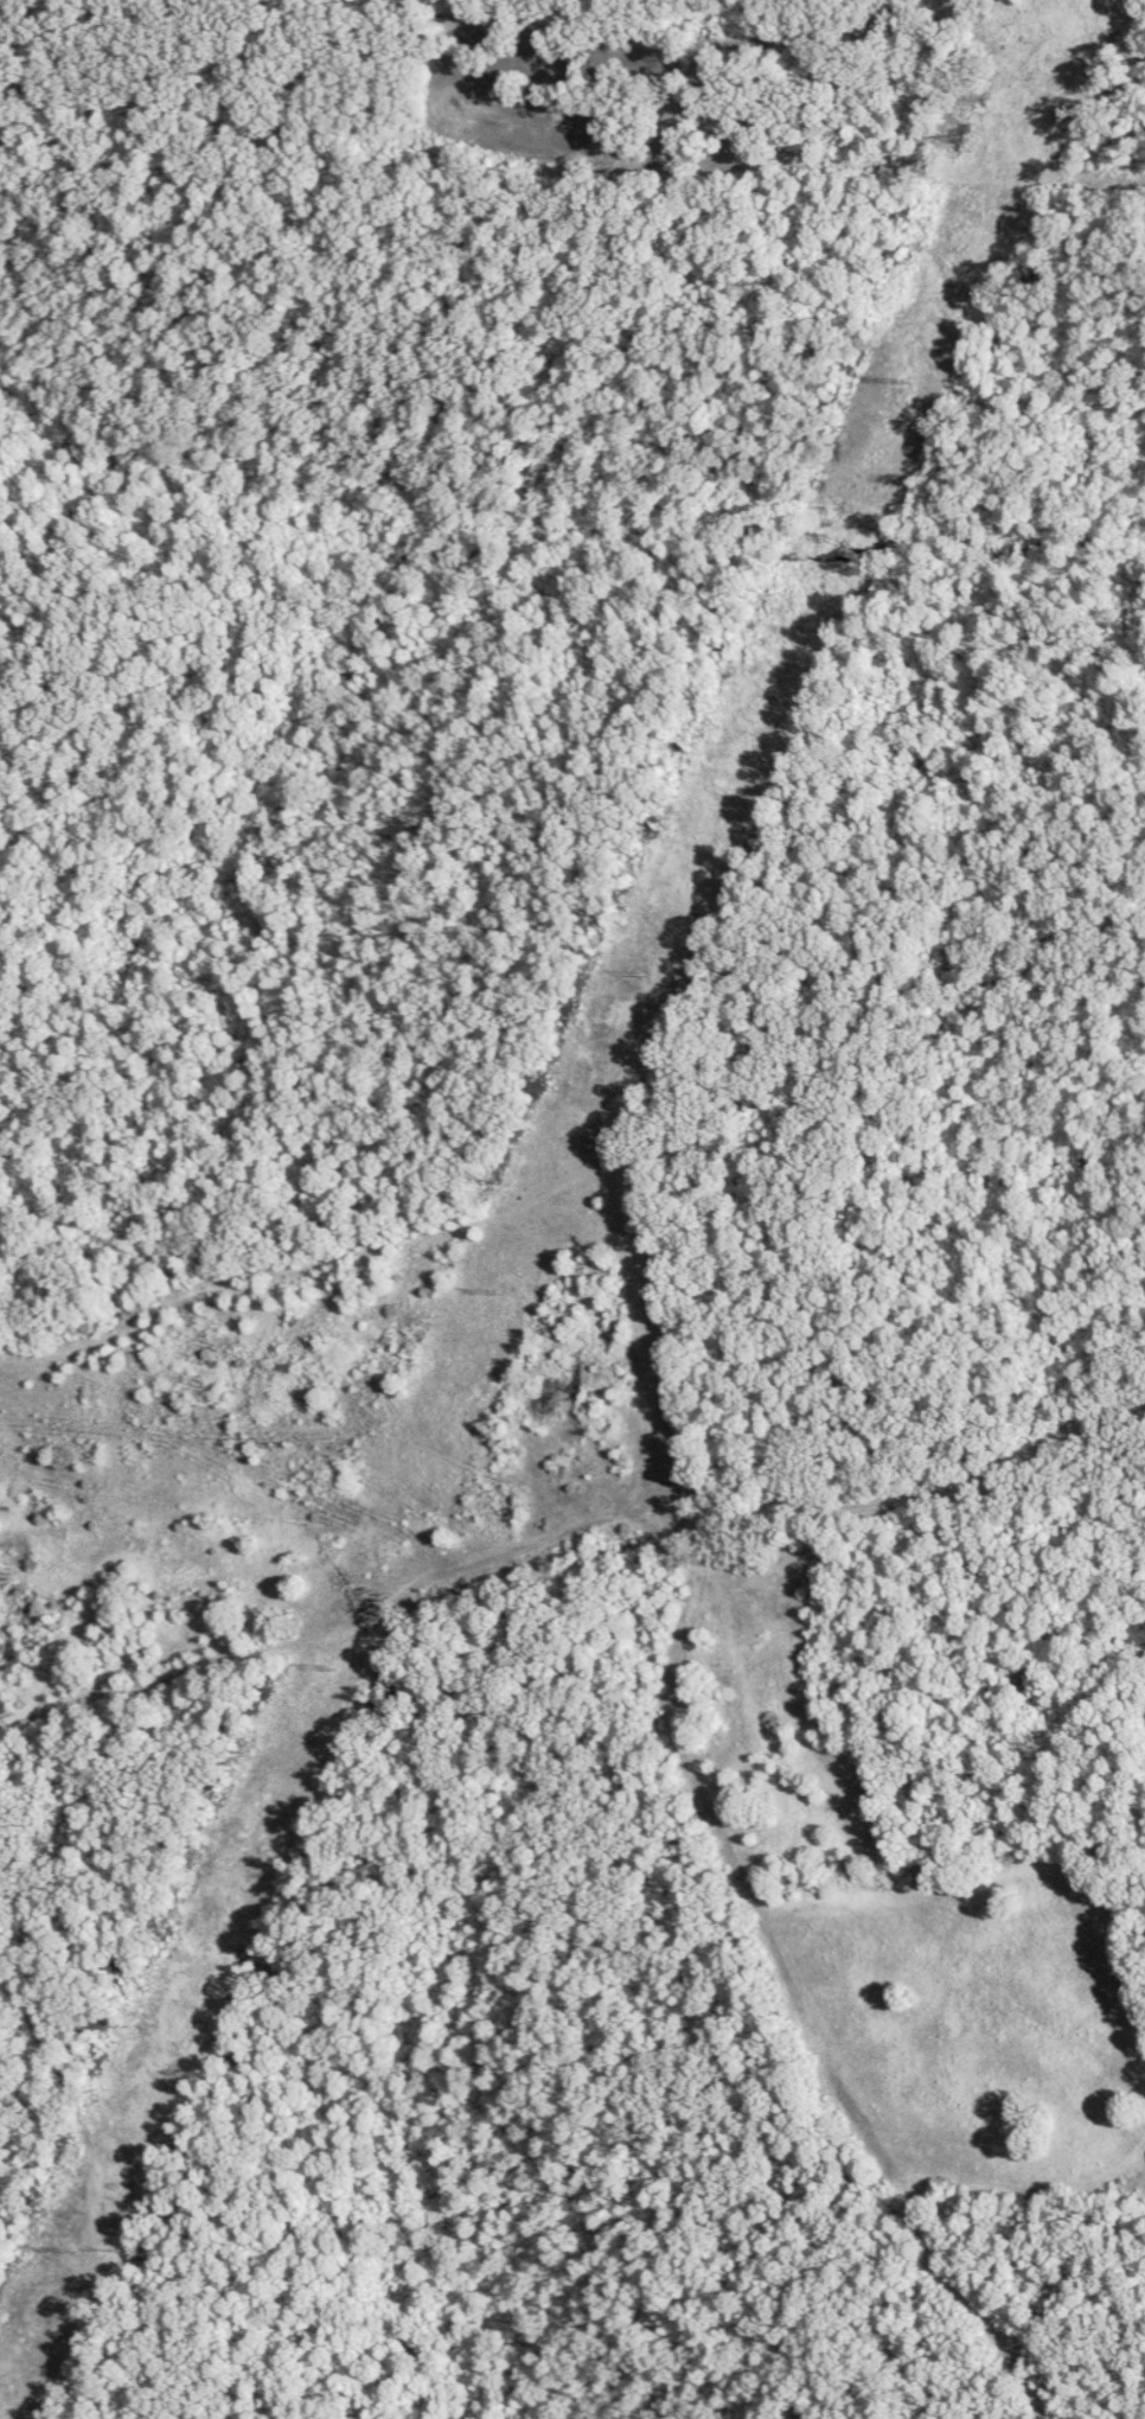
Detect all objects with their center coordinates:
road: (926, 1555)

